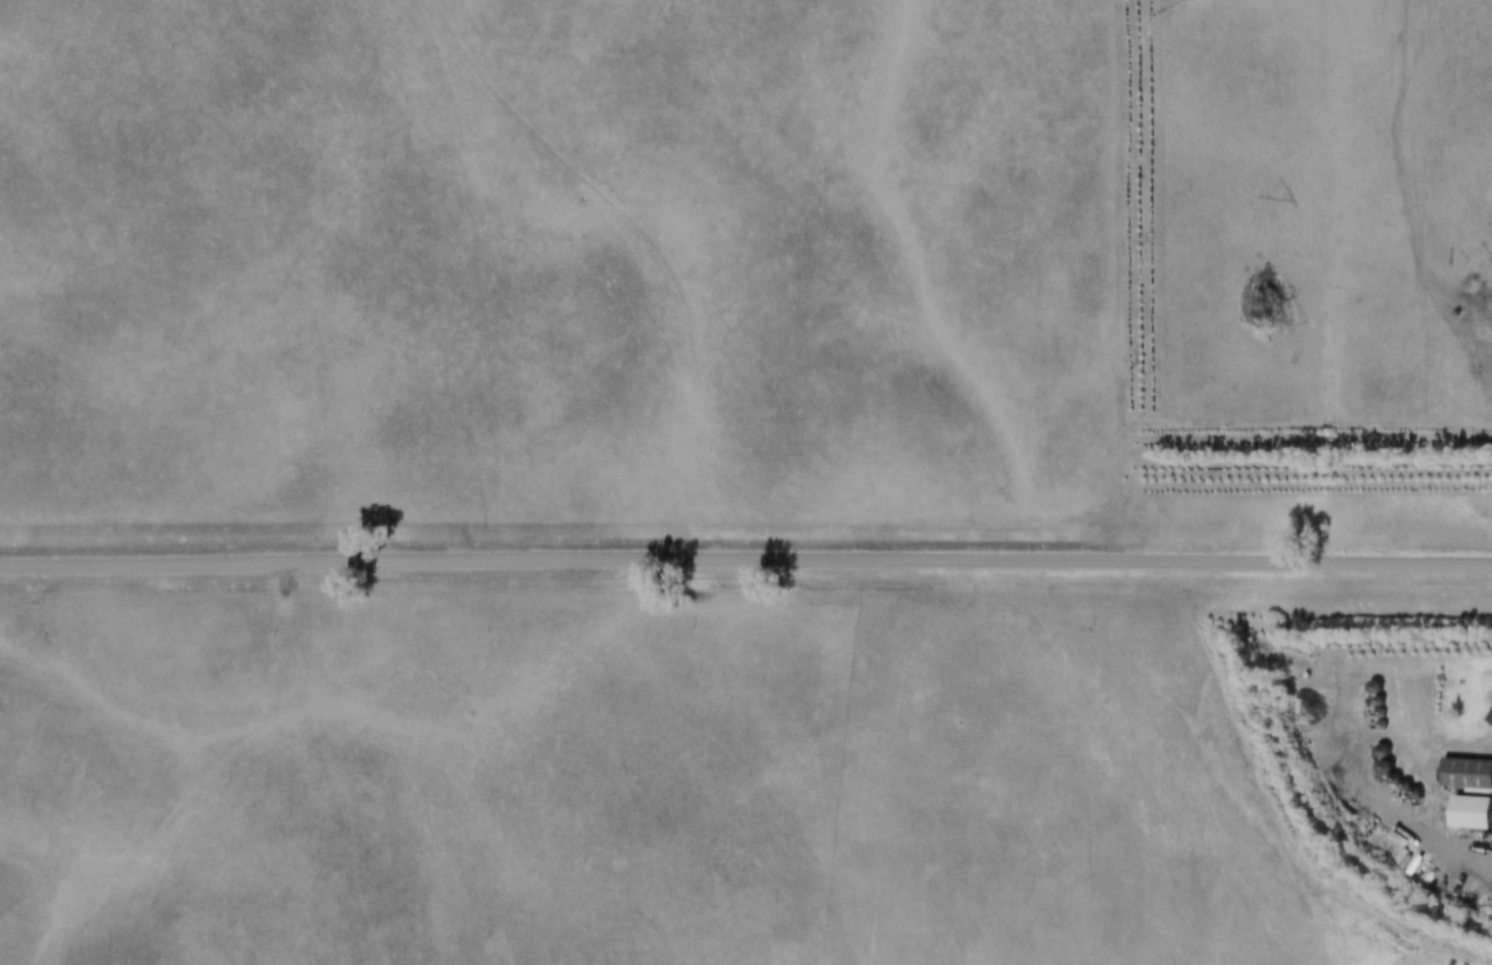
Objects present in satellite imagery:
road: (746, 559)
building: (1489, 718)
building: (1464, 773)
building: (1467, 812)

